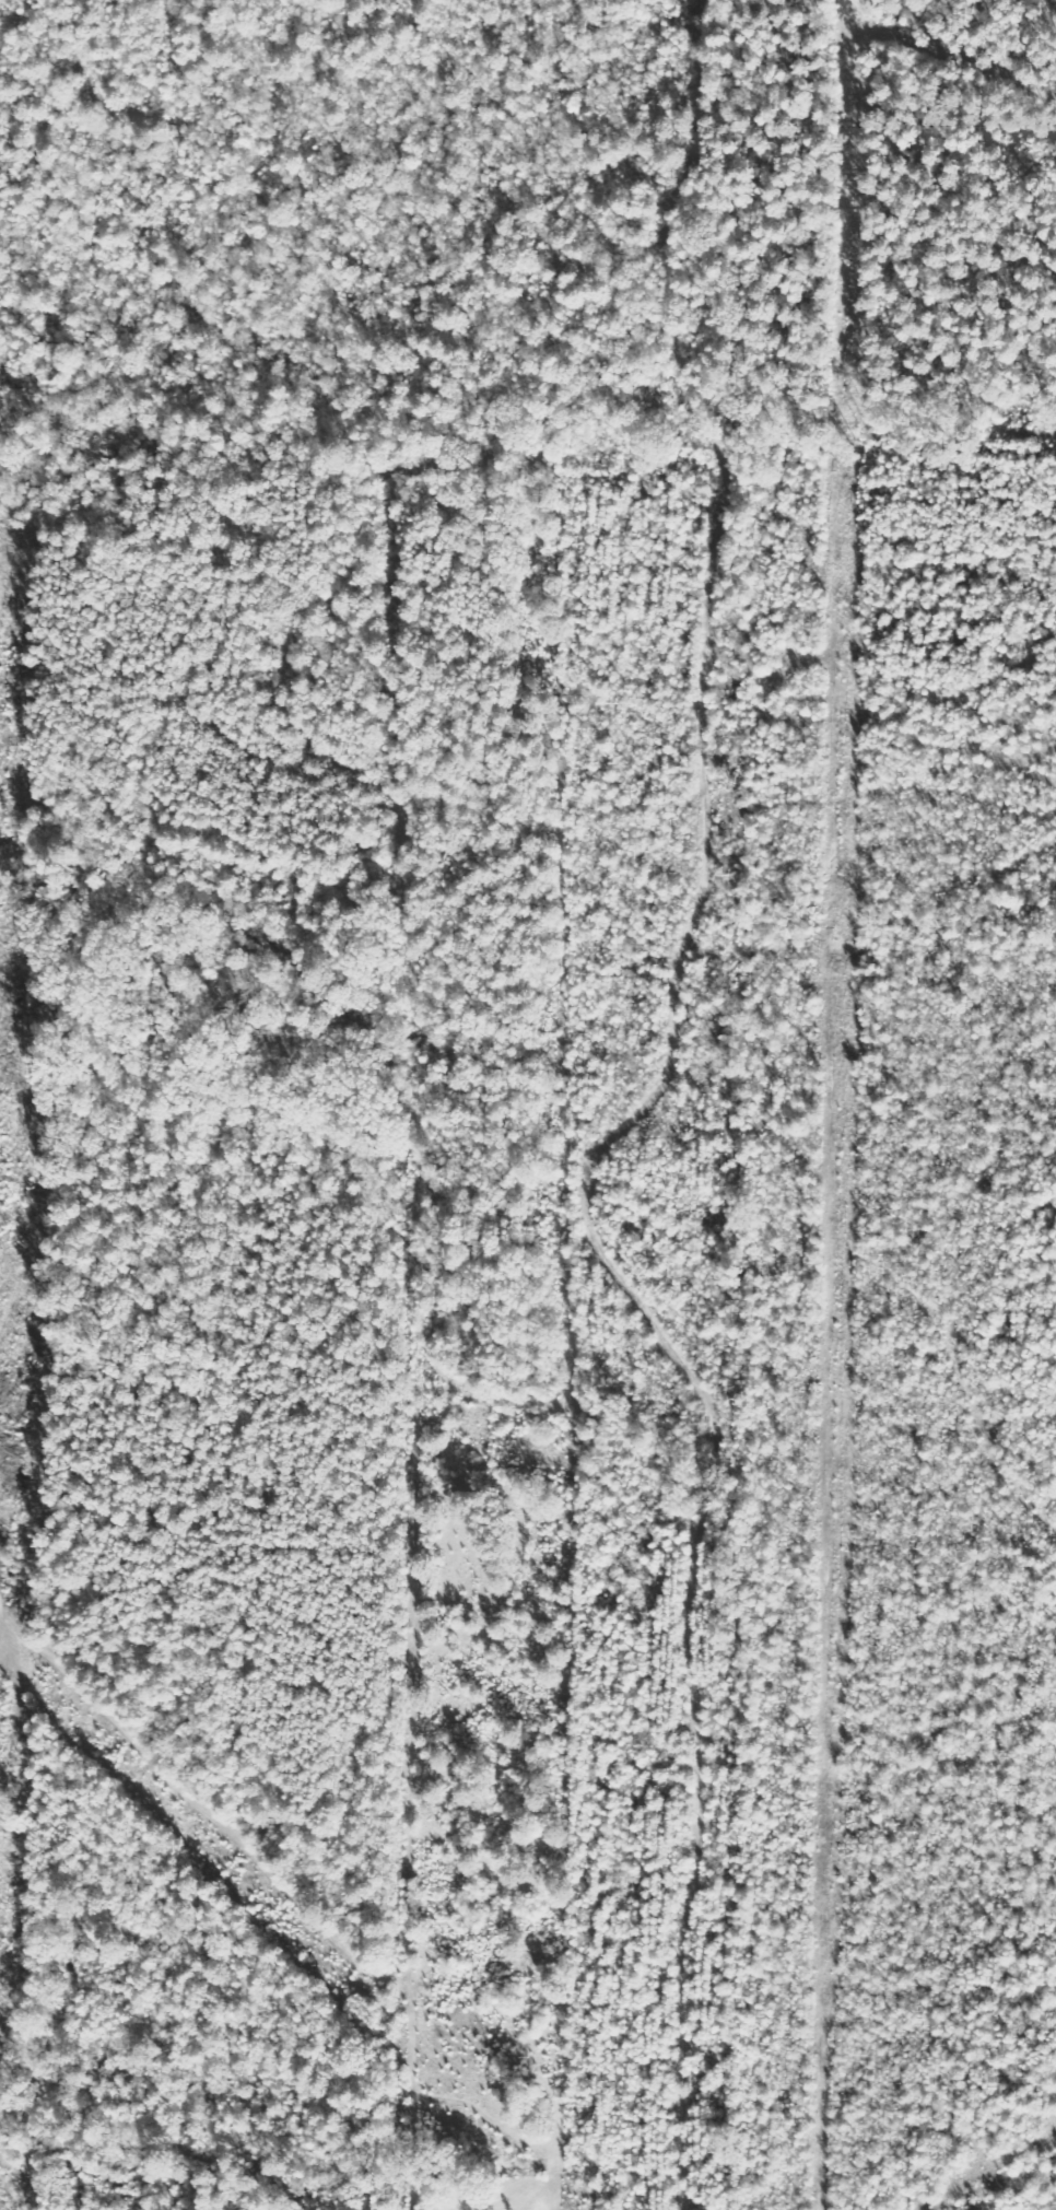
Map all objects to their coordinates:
road: (667, 316)

